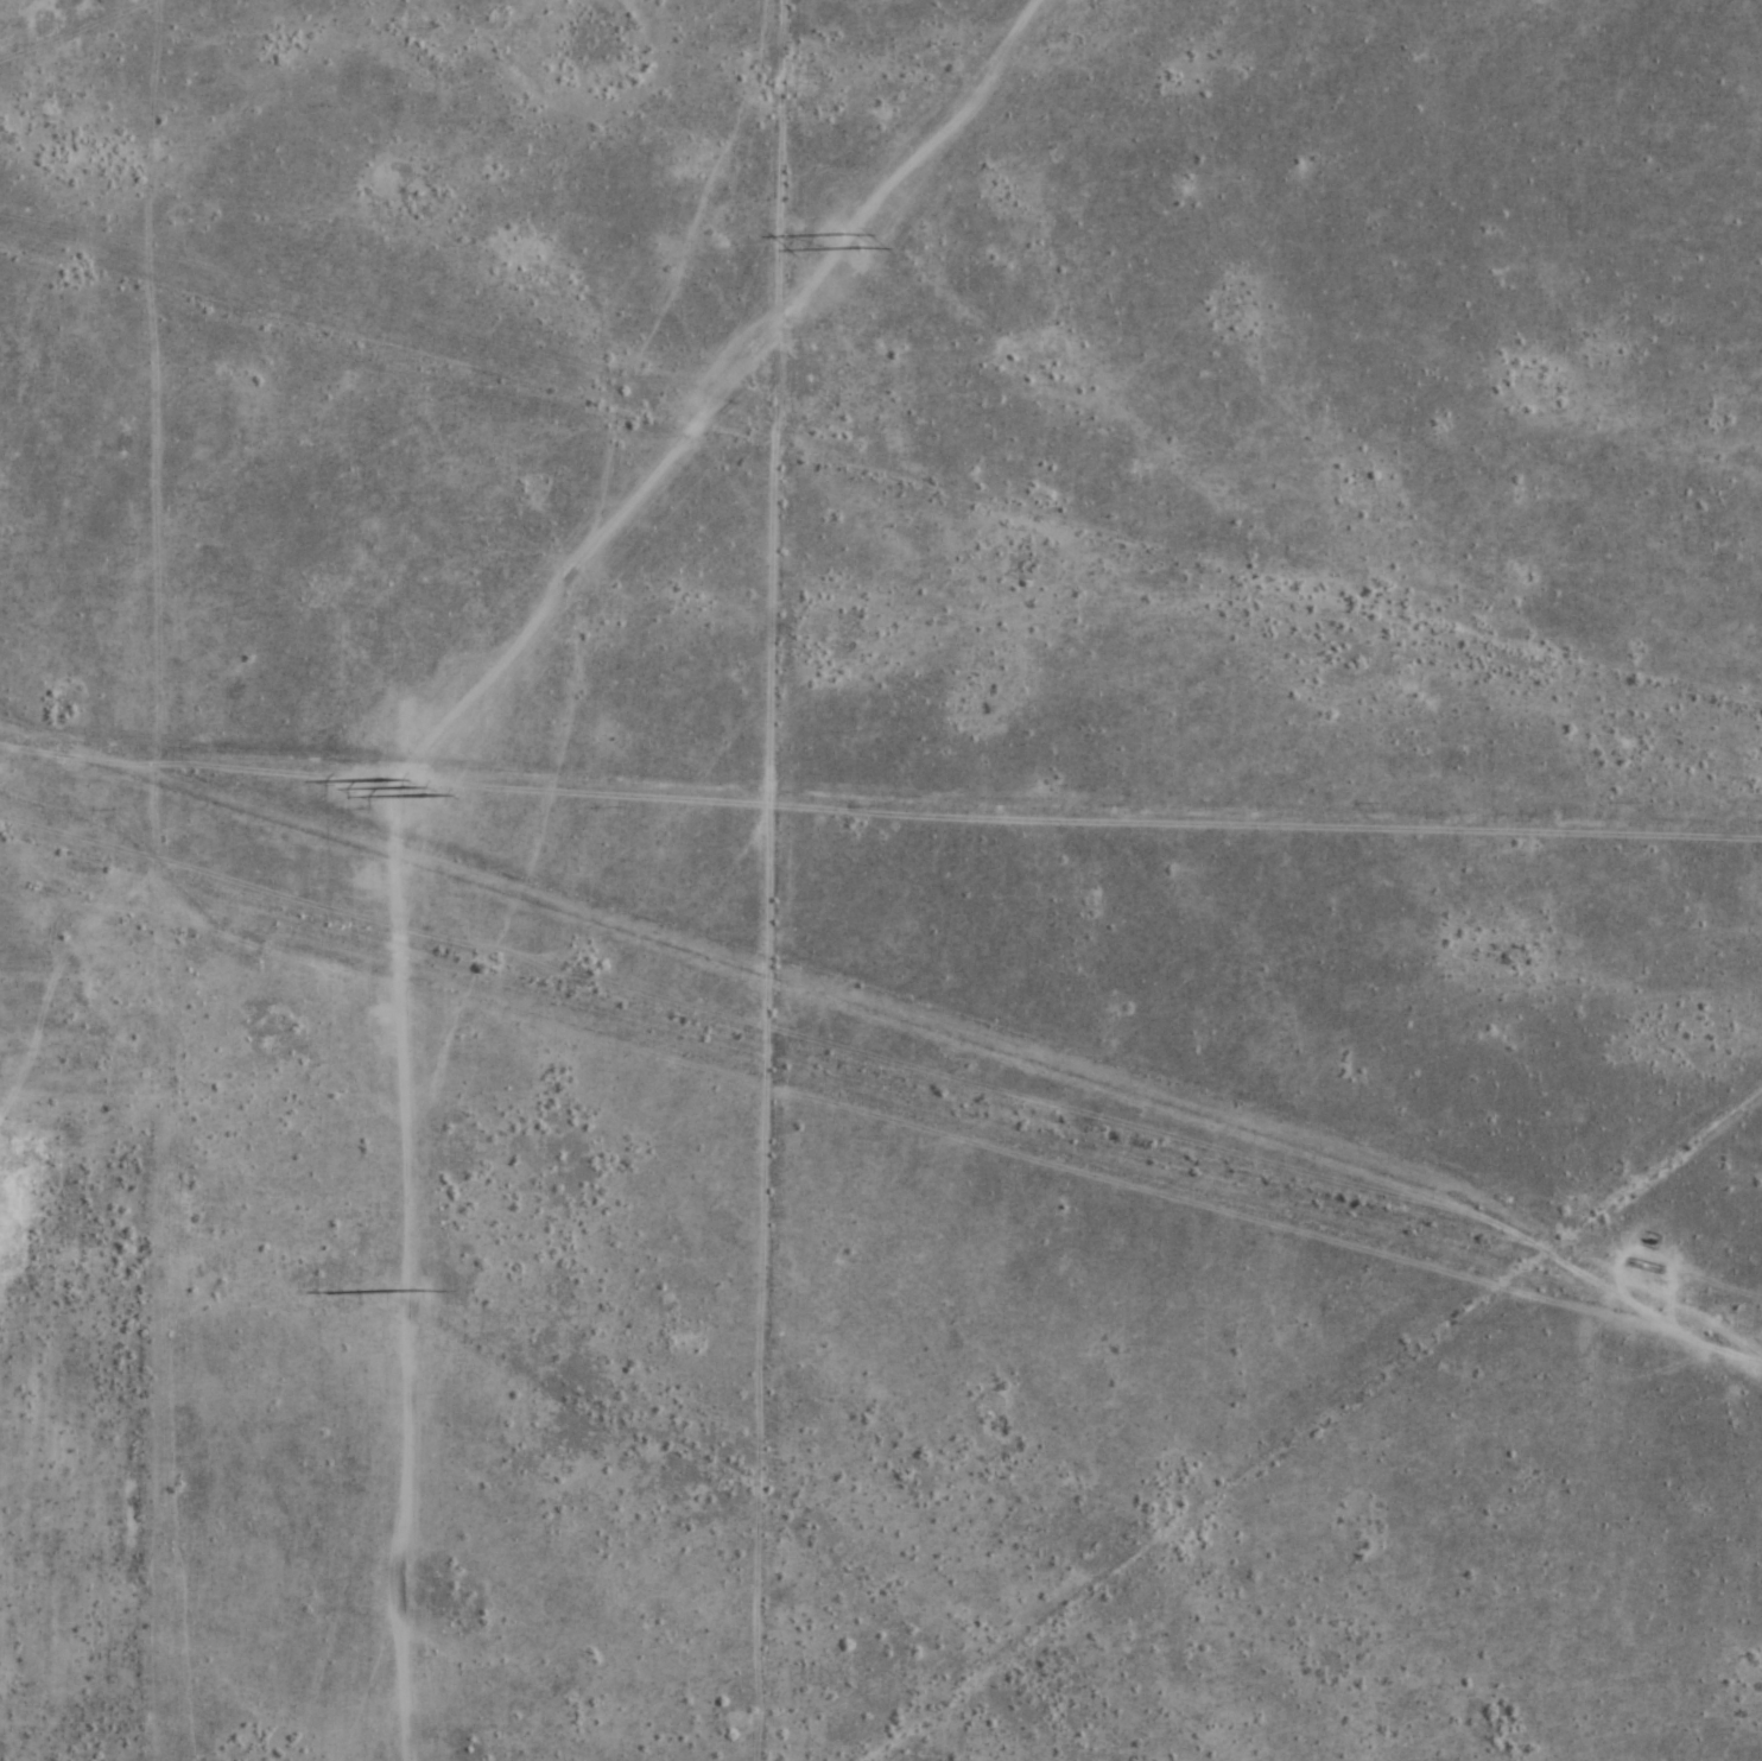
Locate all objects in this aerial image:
power tower: (841, 240)
road: (881, 481)
power tower: (393, 786)
power tower: (395, 1291)

